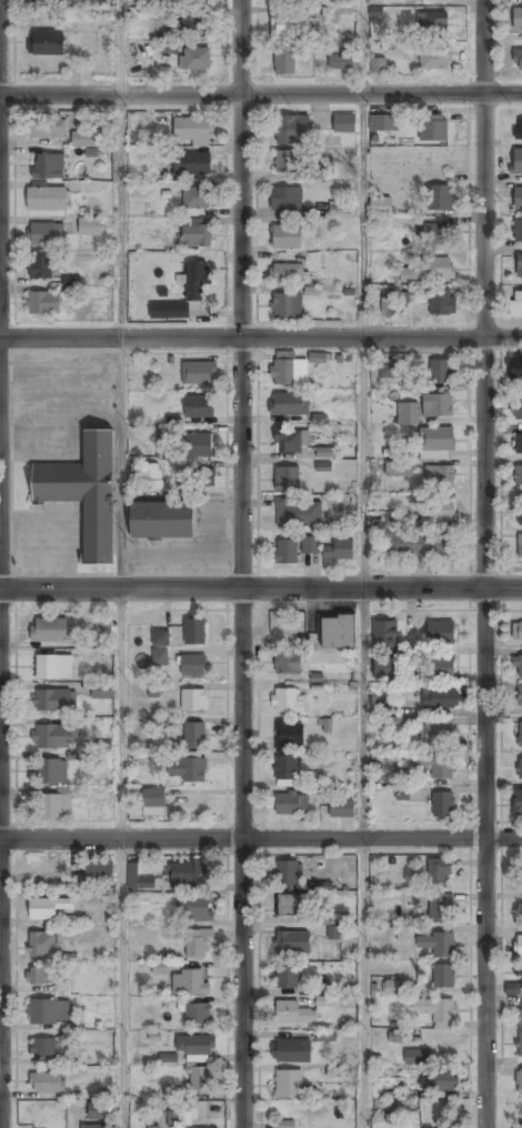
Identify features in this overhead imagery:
building: (289, 0)
building: (46, 1)
building: (160, 16)
building: (375, 16)
building: (518, 19)
building: (431, 21)
building: (183, 24)
building: (290, 26)
building: (47, 43)
road: (120, 44)
road: (363, 46)
building: (167, 49)
building: (194, 59)
building: (284, 59)
building: (435, 59)
building: (518, 59)
building: (341, 60)
building: (378, 66)
road: (260, 91)
building: (383, 122)
building: (343, 123)
building: (47, 128)
building: (433, 128)
building: (519, 128)
building: (291, 129)
building: (192, 130)
building: (84, 139)
building: (516, 161)
building: (285, 162)
building: (191, 163)
building: (48, 167)
building: (194, 198)
building: (439, 198)
building: (47, 199)
building: (285, 199)
building: (518, 199)
building: (381, 205)
building: (340, 207)
building: (89, 226)
building: (318, 226)
building: (518, 231)
building: (434, 232)
building: (46, 233)
building: (195, 235)
building: (285, 236)
building: (39, 265)
building: (519, 266)
building: (430, 270)
building: (287, 272)
building: (194, 281)
building: (70, 282)
building: (392, 301)
building: (42, 302)
building: (441, 302)
building: (516, 304)
building: (285, 305)
building: (170, 310)
road: (260, 338)
road: (121, 339)
road: (364, 339)
building: (317, 357)
building: (515, 369)
building: (288, 370)
building: (389, 370)
building: (199, 372)
building: (440, 372)
building: (289, 403)
building: (198, 405)
building: (436, 405)
building: (516, 407)
building: (406, 413)
building: (291, 440)
building: (435, 442)
building: (199, 444)
building: (519, 444)
building: (323, 452)
building: (398, 470)
building: (439, 475)
building: (518, 475)
building: (145, 477)
building: (203, 477)
building: (287, 479)
building: (84, 492)
building: (436, 510)
building: (298, 513)
building: (520, 514)
building: (162, 520)
building: (310, 544)
building: (419, 544)
building: (520, 546)
building: (340, 548)
building: (285, 551)
road: (242, 563)
road: (485, 563)
road: (261, 588)
building: (282, 620)
building: (49, 630)
building: (516, 631)
building: (337, 632)
building: (440, 632)
building: (181, 633)
building: (385, 648)
building: (160, 656)
building: (287, 662)
building: (193, 665)
building: (53, 666)
building: (436, 666)
building: (518, 666)
building: (101, 689)
building: (520, 695)
building: (439, 697)
building: (192, 699)
building: (53, 701)
building: (285, 701)
building: (385, 707)
road: (0, 715)
building: (435, 732)
building: (520, 734)
building: (193, 735)
building: (287, 735)
building: (53, 736)
building: (436, 765)
building: (520, 768)
building: (187, 769)
building: (285, 771)
building: (52, 772)
building: (314, 779)
building: (153, 802)
building: (518, 802)
building: (291, 803)
building: (56, 805)
building: (442, 805)
building: (341, 808)
road: (260, 837)
road: (363, 857)
road: (122, 858)
building: (521, 869)
building: (440, 872)
building: (288, 874)
building: (99, 875)
building: (188, 875)
building: (138, 879)
building: (76, 883)
building: (320, 886)
building: (290, 904)
building: (48, 906)
building: (440, 907)
building: (197, 908)
building: (331, 931)
building: (404, 933)
building: (42, 943)
building: (292, 943)
building: (197, 944)
building: (438, 944)
building: (519, 946)
building: (160, 968)
building: (442, 975)
building: (38, 976)
building: (520, 976)
building: (288, 977)
building: (189, 983)
building: (391, 987)
building: (325, 1000)
building: (439, 1010)
building: (48, 1011)
building: (520, 1013)
building: (198, 1014)
building: (292, 1014)
building: (396, 1036)
building: (519, 1044)
building: (194, 1045)
building: (42, 1049)
building: (291, 1051)
building: (416, 1057)
building: (168, 1058)
building: (198, 1078)
building: (519, 1080)
building: (443, 1081)
building: (47, 1082)
building: (289, 1085)
building: (97, 1110)
building: (174, 1119)
building: (285, 1124)
building: (516, 1126)
building: (93, 1127)
building: (153, 1127)
building: (428, 1127)

